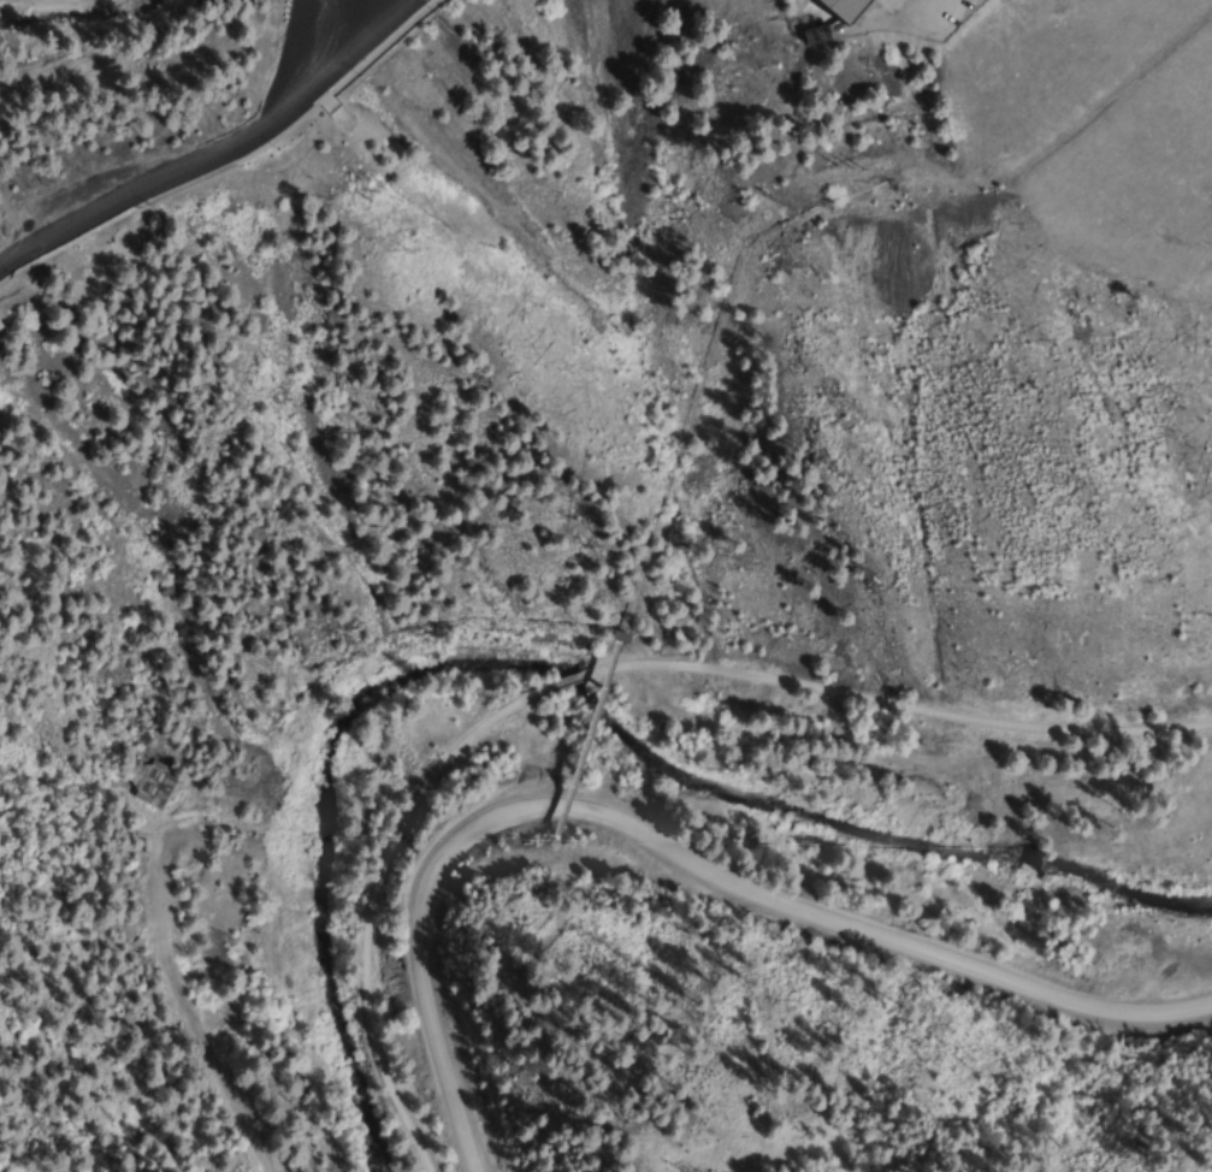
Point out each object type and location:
building: (841, 7)
road: (380, 8)
road: (219, 148)
building: (617, 635)
road: (562, 681)
road: (899, 704)
building: (154, 783)
road: (669, 857)
road: (373, 905)

